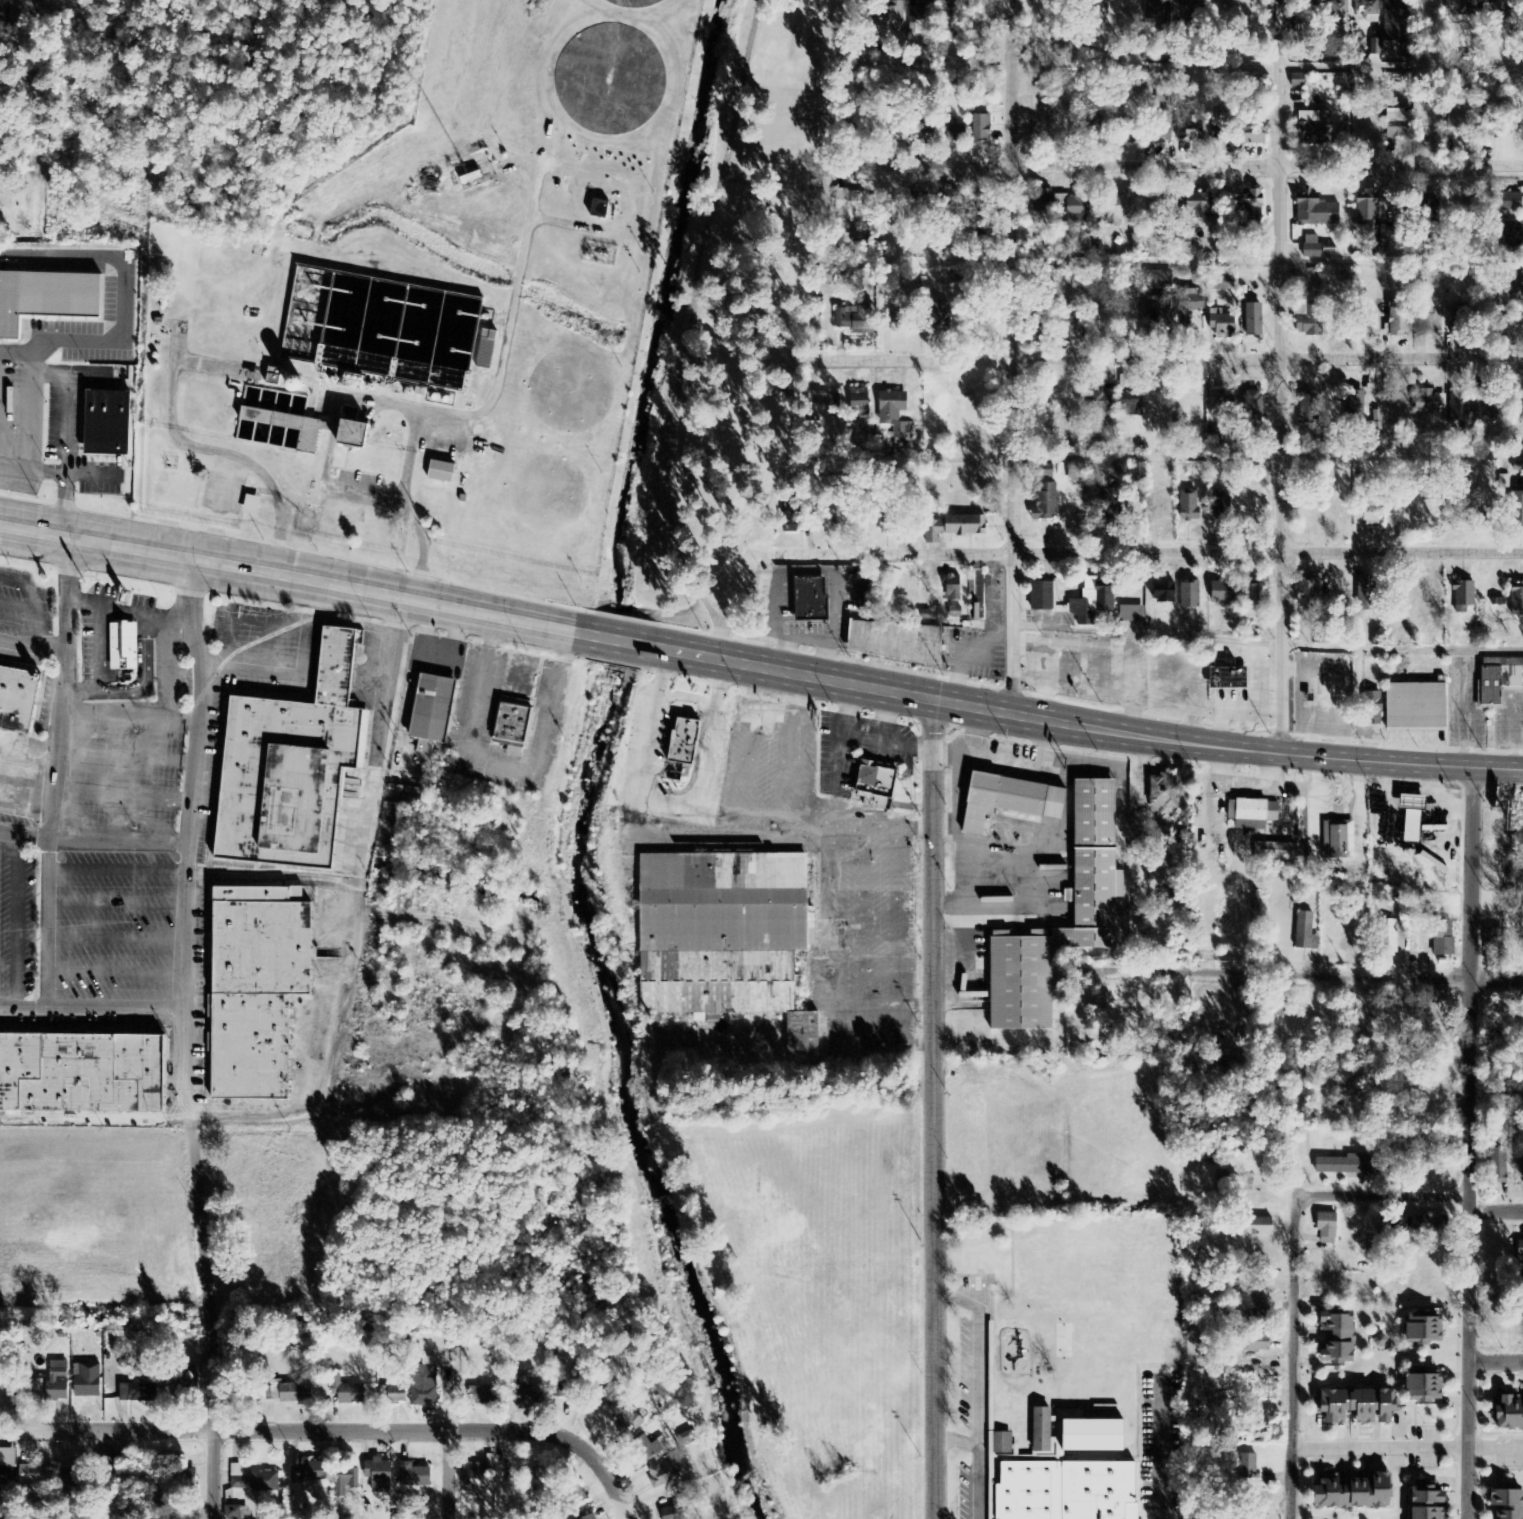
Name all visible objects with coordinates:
building: (1457, 9)
building: (1156, 10)
building: (1336, 10)
building: (1098, 11)
building: (953, 12)
building: (885, 16)
building: (923, 19)
building: (1395, 21)
building: (1515, 24)
building: (1392, 117)
building: (983, 128)
building: (1160, 128)
building: (1183, 128)
building: (1456, 129)
building: (1315, 130)
building: (1394, 133)
building: (959, 134)
building: (1248, 135)
road: (1193, 164)
building: (1042, 200)
building: (851, 203)
building: (1400, 203)
building: (1507, 203)
building: (935, 204)
building: (1426, 204)
building: (1197, 205)
building: (1250, 205)
building: (1116, 209)
building: (601, 210)
building: (1363, 210)
building: (981, 212)
building: (1073, 212)
building: (1314, 212)
building: (1510, 235)
building: (1183, 239)
building: (1310, 249)
building: (1159, 281)
building: (1219, 283)
building: (1509, 288)
building: (46, 297)
wastewater plant: (436, 304)
building: (857, 319)
building: (1252, 320)
building: (1306, 320)
building: (1512, 322)
building: (1430, 323)
building: (1394, 325)
building: (1219, 326)
building: (1074, 329)
building: (1511, 332)
road: (1011, 357)
road: (1194, 358)
road: (1280, 377)
building: (348, 381)
building: (300, 385)
building: (861, 401)
building: (1426, 403)
building: (836, 404)
building: (1100, 404)
building: (1129, 405)
building: (1221, 405)
building: (1353, 406)
building: (891, 408)
building: (1251, 408)
building: (1460, 409)
building: (1307, 410)
building: (111, 423)
building: (291, 429)
building: (356, 431)
building: (902, 433)
building: (1043, 471)
building: (443, 472)
building: (1077, 475)
building: (1046, 503)
building: (1115, 504)
building: (253, 506)
building: (1187, 506)
building: (1221, 508)
building: (1515, 510)
building: (1369, 516)
building: (793, 524)
building: (956, 528)
road: (1194, 552)
road: (805, 567)
building: (954, 589)
building: (866, 591)
building: (1164, 593)
building: (1218, 593)
building: (1305, 595)
building: (1188, 596)
building: (1043, 597)
building: (1250, 597)
building: (1459, 598)
road: (42, 600)
building: (812, 600)
building: (1092, 602)
building: (1515, 603)
road: (21, 609)
building: (1132, 614)
road: (242, 617)
road: (802, 633)
building: (897, 643)
road: (1266, 645)
building: (124, 647)
road: (264, 648)
road: (31, 649)
road: (777, 651)
road: (824, 656)
road: (759, 666)
building: (1224, 676)
road: (300, 679)
building: (16, 696)
building: (1411, 708)
building: (433, 712)
road: (128, 718)
building: (515, 723)
building: (687, 742)
road: (27, 751)
road: (124, 760)
building: (288, 765)
road: (53, 776)
building: (877, 787)
building: (1162, 794)
road: (121, 798)
building: (1006, 799)
building: (1249, 814)
building: (1408, 817)
building: (1336, 840)
road: (186, 846)
road: (92, 847)
building: (1276, 852)
road: (116, 870)
building: (1093, 904)
road: (116, 906)
building: (1303, 923)
road: (16, 926)
building: (723, 935)
building: (1385, 938)
building: (1441, 939)
road: (116, 940)
road: (116, 974)
road: (1321, 976)
building: (253, 986)
road: (93, 1014)
building: (83, 1076)
road: (936, 1109)
road: (1469, 1143)
building: (1342, 1166)
building: (1497, 1167)
building: (1522, 1169)
road: (1407, 1204)
building: (1256, 1227)
building: (1325, 1228)
building: (1519, 1249)
road: (1292, 1296)
road: (215, 1325)
building: (1417, 1330)
building: (1334, 1341)
building: (1253, 1344)
road: (1495, 1362)
building: (53, 1380)
building: (88, 1382)
building: (425, 1383)
building: (37, 1386)
building: (569, 1389)
building: (529, 1392)
building: (139, 1394)
building: (292, 1394)
building: (394, 1394)
building: (352, 1395)
building: (488, 1396)
building: (610, 1397)
building: (1355, 1405)
building: (1507, 1413)
building: (626, 1422)
building: (1082, 1430)
building: (1258, 1434)
road: (339, 1437)
building: (1005, 1443)
building: (646, 1450)
road: (1378, 1452)
building: (6, 1465)
building: (1247, 1467)
building: (310, 1474)
building: (475, 1475)
building: (664, 1475)
building: (380, 1476)
building: (38, 1477)
building: (415, 1477)
building: (73, 1479)
road: (451, 1479)
building: (252, 1481)
building: (345, 1483)
building: (1059, 1489)
building: (1351, 1491)
building: (538, 1494)
building: (1421, 1501)
building: (1506, 1502)
building: (674, 1509)
building: (236, 1513)
building: (588, 1518)

